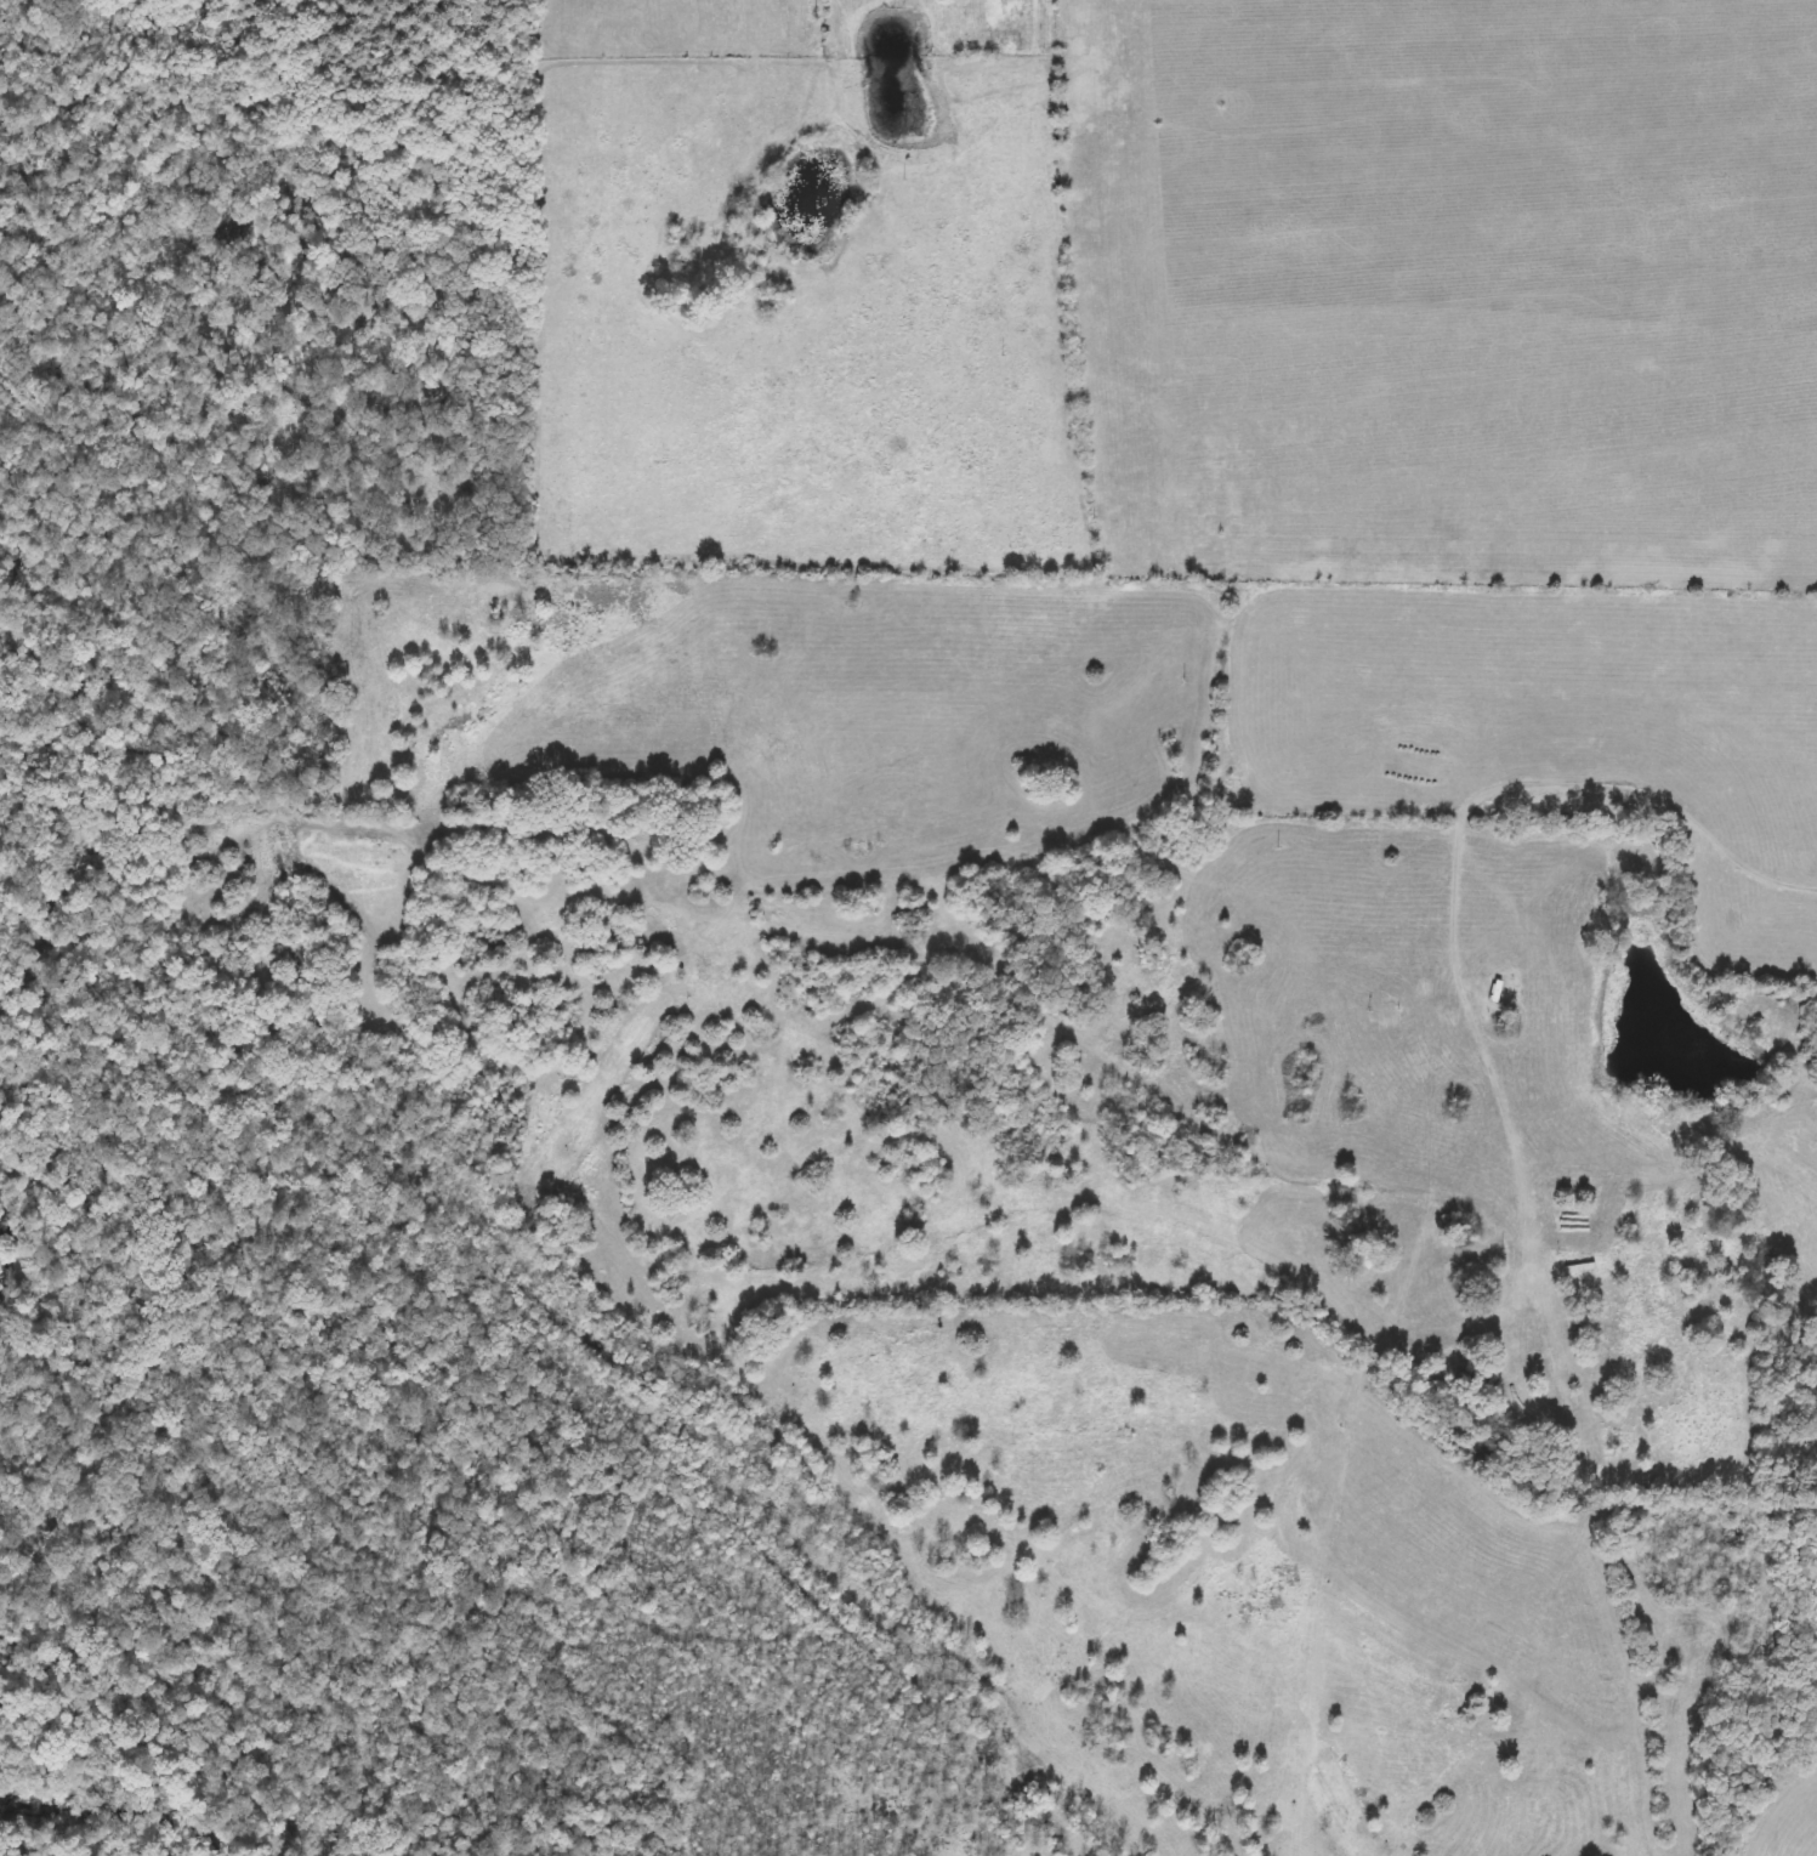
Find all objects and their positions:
road: (1463, 840)
river: (22, 1268)
river: (120, 1818)

